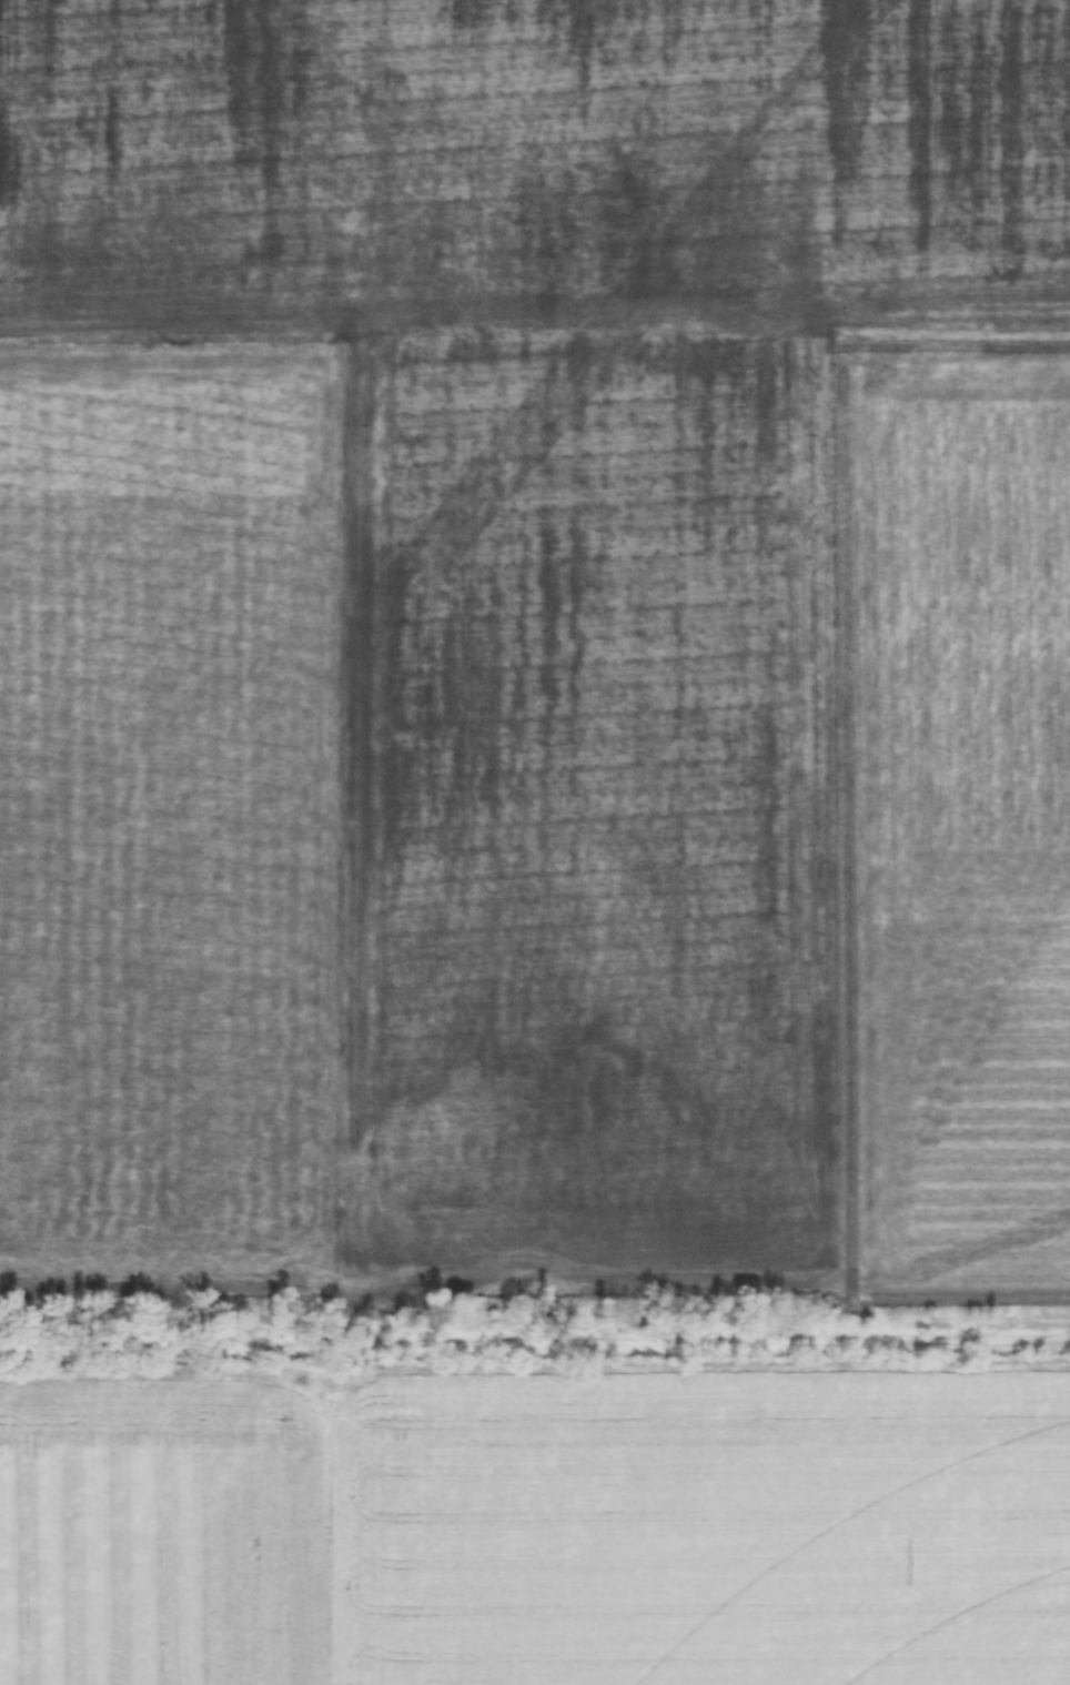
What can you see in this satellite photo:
crop: (163, 1533)

